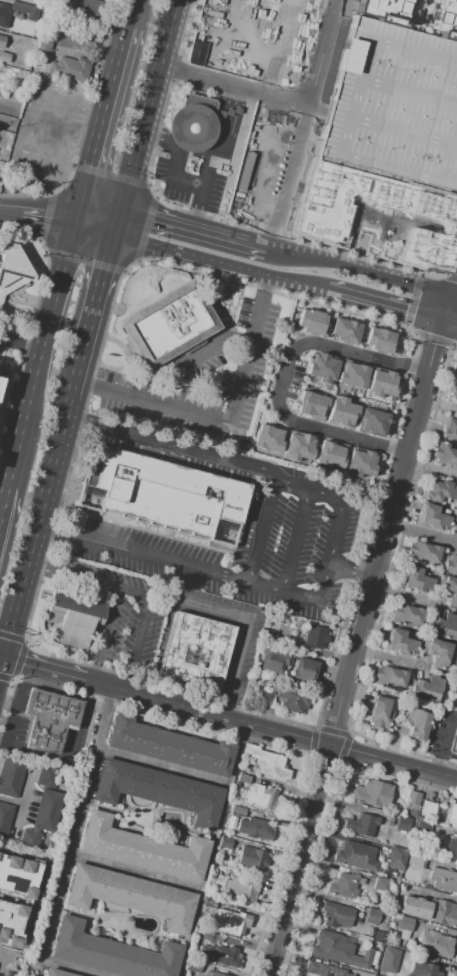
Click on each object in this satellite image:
building: (15, 0)
building: (32, 1)
road: (131, 1)
building: (83, 7)
building: (25, 10)
building: (379, 10)
building: (3, 17)
building: (444, 19)
building: (2, 41)
building: (42, 48)
building: (4, 57)
building: (73, 68)
road: (206, 79)
building: (15, 86)
road: (148, 106)
building: (394, 107)
parking lot: (394, 107)
road: (102, 109)
building: (195, 124)
road: (156, 132)
road: (214, 157)
building: (263, 170)
road: (171, 176)
road: (11, 206)
road: (199, 210)
traffic signals: (120, 212)
road: (48, 213)
road: (97, 214)
traffic signals: (74, 216)
road: (117, 223)
road: (191, 229)
traffic signals: (114, 234)
building: (12, 270)
road: (360, 271)
road: (264, 273)
road: (264, 283)
traffic signals: (456, 296)
road: (96, 301)
road: (451, 307)
traffic signals: (408, 309)
building: (309, 319)
traffic signals: (446, 319)
building: (166, 323)
building: (344, 329)
building: (378, 338)
traffic signals: (440, 342)
road: (21, 343)
road: (211, 343)
road: (41, 353)
building: (320, 367)
building: (0, 369)
road: (284, 375)
building: (351, 375)
building: (382, 383)
road: (84, 384)
building: (454, 390)
building: (311, 405)
building: (341, 414)
building: (371, 420)
road: (80, 422)
road: (224, 422)
building: (450, 429)
building: (267, 436)
building: (298, 446)
building: (330, 455)
building: (444, 455)
building: (361, 462)
road: (258, 469)
building: (441, 491)
building: (167, 495)
road: (4, 506)
road: (39, 513)
building: (434, 518)
building: (456, 524)
road: (260, 529)
road: (420, 533)
road: (297, 541)
building: (423, 552)
building: (449, 563)
road: (37, 568)
road: (231, 580)
building: (416, 580)
building: (449, 589)
road: (139, 594)
road: (211, 610)
building: (407, 614)
building: (75, 615)
road: (107, 626)
building: (444, 626)
building: (270, 636)
building: (314, 637)
building: (399, 642)
road: (357, 647)
building: (196, 652)
building: (437, 652)
road: (0, 658)
traffic signals: (1, 659)
road: (0, 660)
road: (237, 662)
building: (275, 662)
road: (43, 669)
building: (305, 670)
road: (94, 673)
building: (390, 677)
road: (131, 684)
building: (428, 688)
building: (264, 697)
building: (293, 701)
building: (456, 704)
road: (224, 711)
building: (380, 713)
building: (49, 719)
building: (417, 723)
road: (271, 731)
building: (454, 741)
building: (169, 746)
building: (266, 762)
road: (160, 766)
building: (10, 777)
building: (50, 777)
building: (158, 790)
building: (373, 793)
building: (260, 798)
building: (413, 799)
building: (427, 809)
building: (237, 811)
building: (451, 815)
building: (43, 816)
building: (5, 819)
building: (403, 824)
building: (361, 825)
building: (254, 828)
building: (423, 828)
building: (225, 842)
building: (451, 848)
building: (142, 849)
road: (210, 850)
road: (66, 854)
building: (357, 856)
building: (396, 858)
building: (251, 859)
building: (416, 860)
road: (133, 873)
building: (443, 880)
building: (381, 884)
building: (343, 886)
building: (240, 889)
building: (13, 896)
building: (131, 896)
building: (430, 911)
building: (337, 915)
building: (373, 916)
building: (233, 922)
building: (405, 924)
building: (207, 936)
building: (379, 936)
building: (437, 944)
building: (339, 951)
building: (112, 952)
building: (223, 955)
building: (389, 960)
building: (325, 970)
building: (422, 970)
building: (57, 973)
building: (215, 974)

